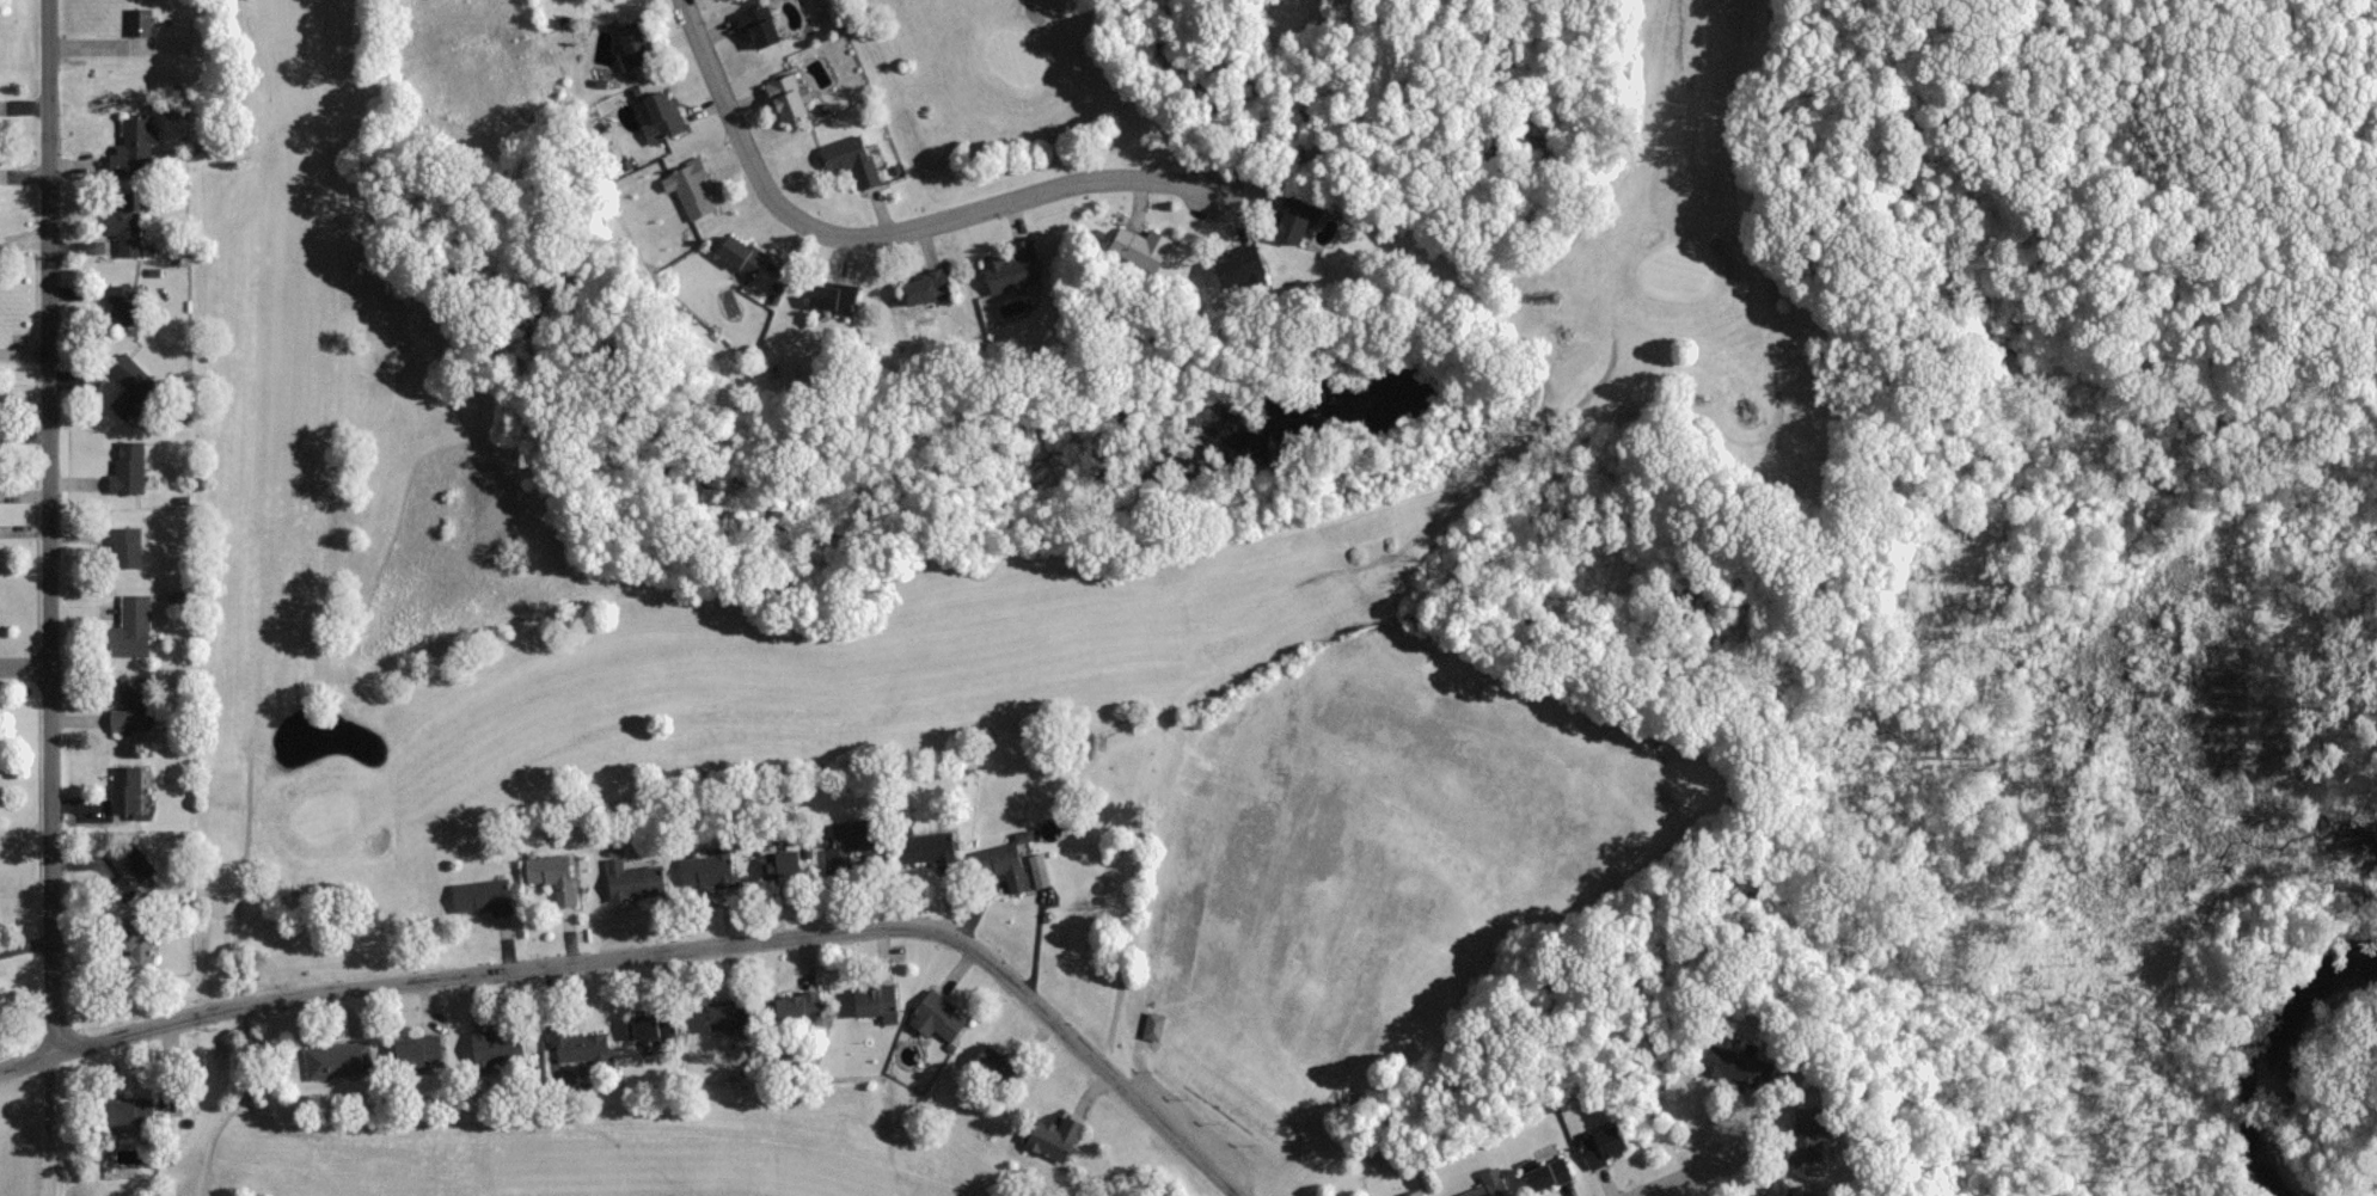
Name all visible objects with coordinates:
building: (756, 26)
building: (629, 39)
building: (783, 97)
building: (653, 99)
building: (1, 110)
building: (131, 148)
building: (849, 159)
building: (693, 190)
road: (883, 233)
building: (740, 256)
building: (1010, 266)
building: (1233, 266)
building: (923, 288)
building: (128, 382)
building: (127, 466)
road: (50, 528)
park: (909, 528)
building: (122, 546)
building: (130, 624)
road: (25, 669)
building: (129, 705)
building: (124, 790)
building: (844, 844)
building: (925, 847)
building: (992, 860)
building: (129, 863)
building: (778, 863)
building: (672, 875)
building: (551, 878)
building: (478, 896)
road: (664, 952)
building: (872, 1001)
building: (785, 1007)
building: (717, 1017)
building: (935, 1017)
building: (1150, 1025)
building: (641, 1026)
building: (494, 1045)
building: (580, 1047)
building: (417, 1051)
building: (336, 1059)
building: (987, 1061)
road: (47, 1127)
building: (1050, 1136)
building: (1601, 1146)
building: (1544, 1172)
road: (1684, 1174)
building: (1487, 1184)
building: (1768, 1189)

